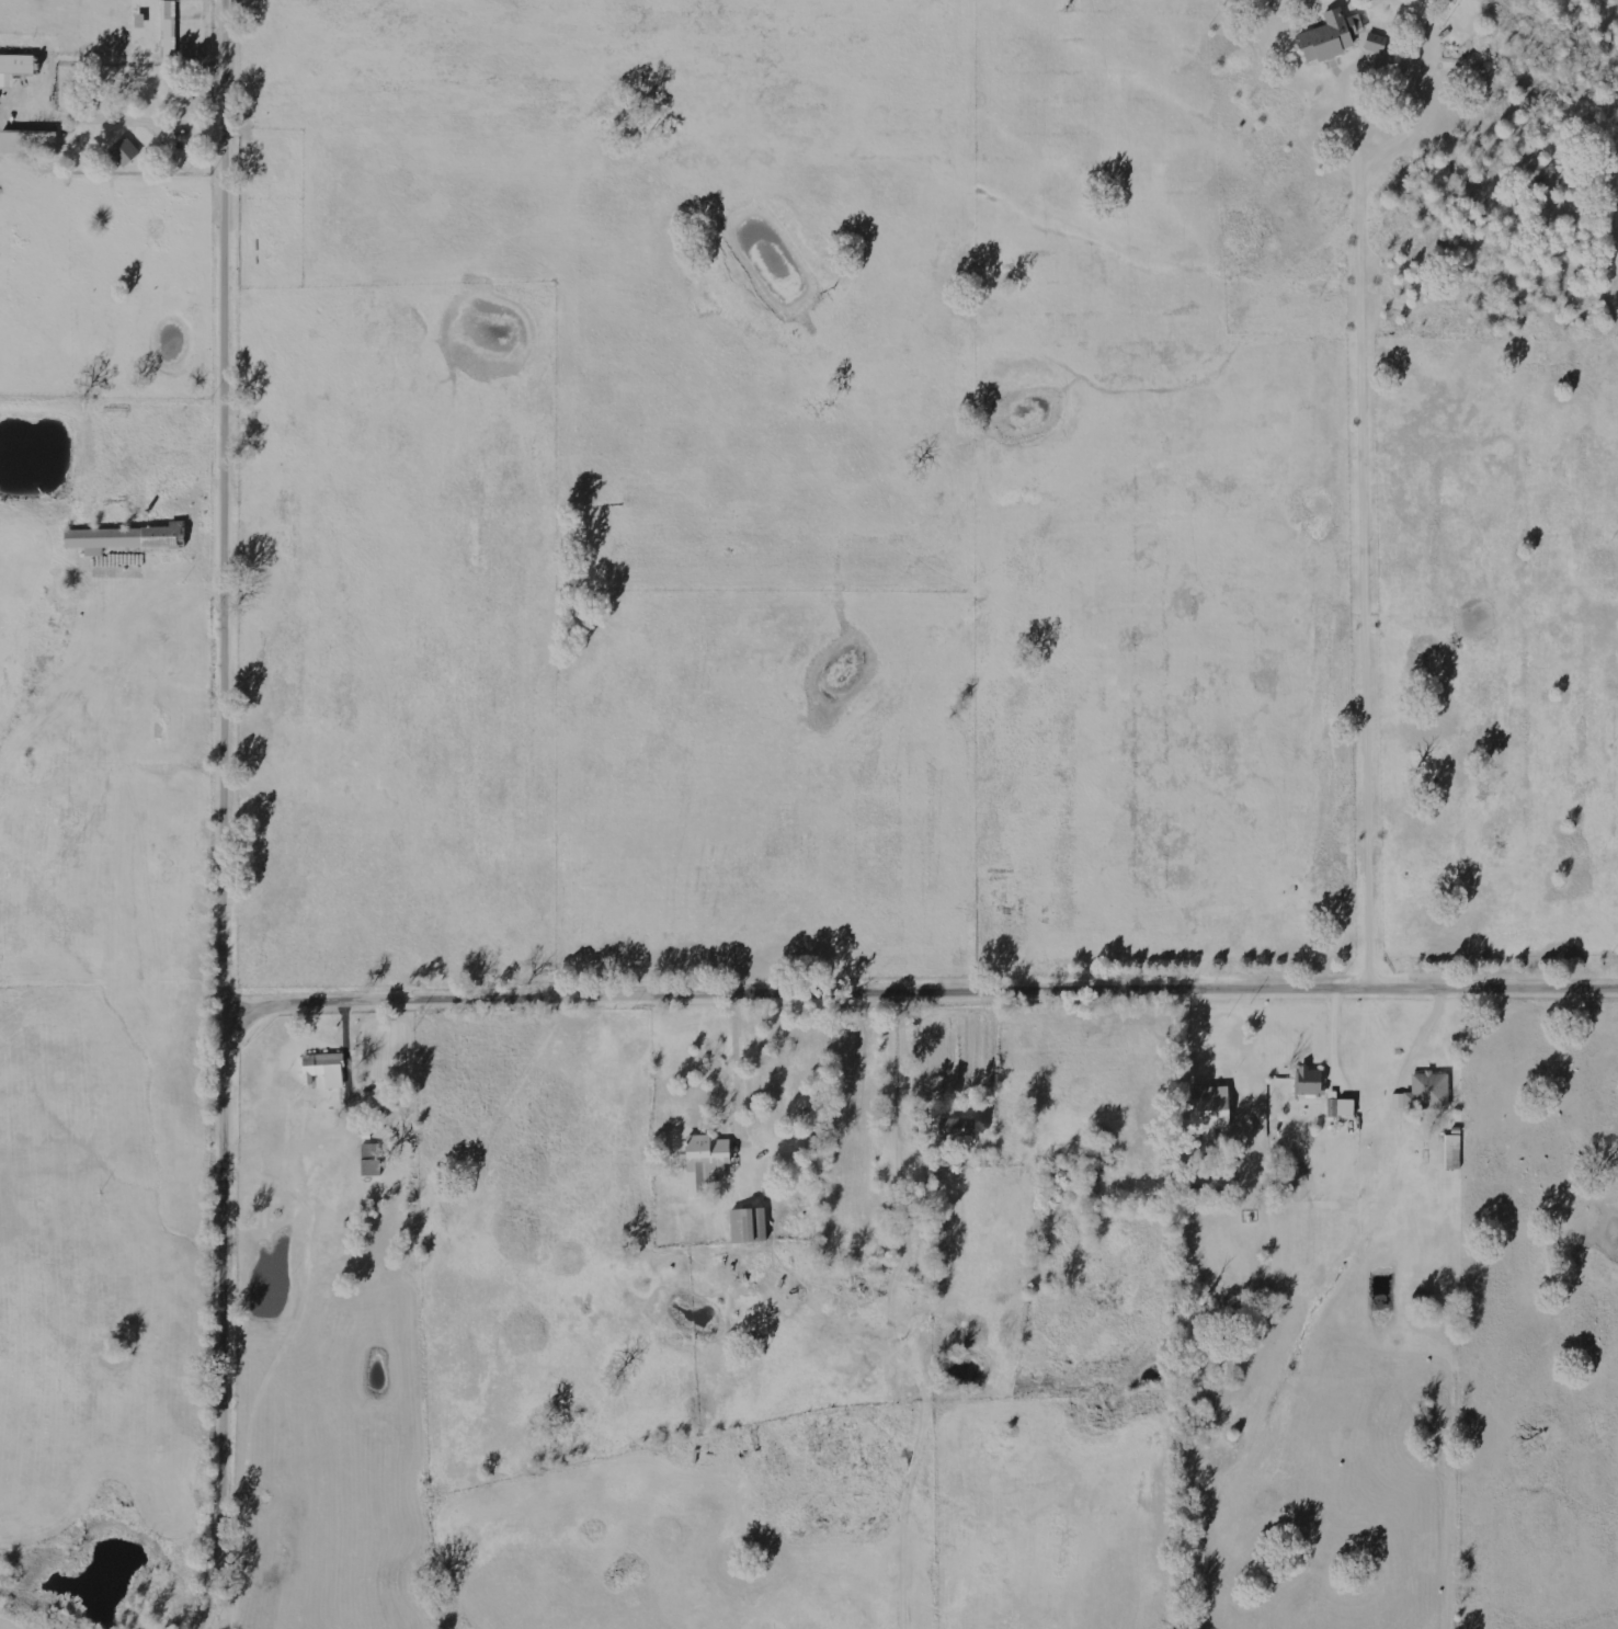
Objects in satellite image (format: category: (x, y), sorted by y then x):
building: (169, 29)
building: (1330, 36)
building: (1375, 41)
building: (14, 67)
building: (27, 144)
building: (124, 150)
road: (233, 527)
building: (125, 537)
road: (626, 998)
building: (323, 1069)
building: (1308, 1080)
building: (1424, 1092)
building: (371, 1100)
building: (1206, 1112)
building: (957, 1128)
building: (1452, 1151)
building: (708, 1154)
building: (371, 1159)
building: (748, 1224)

